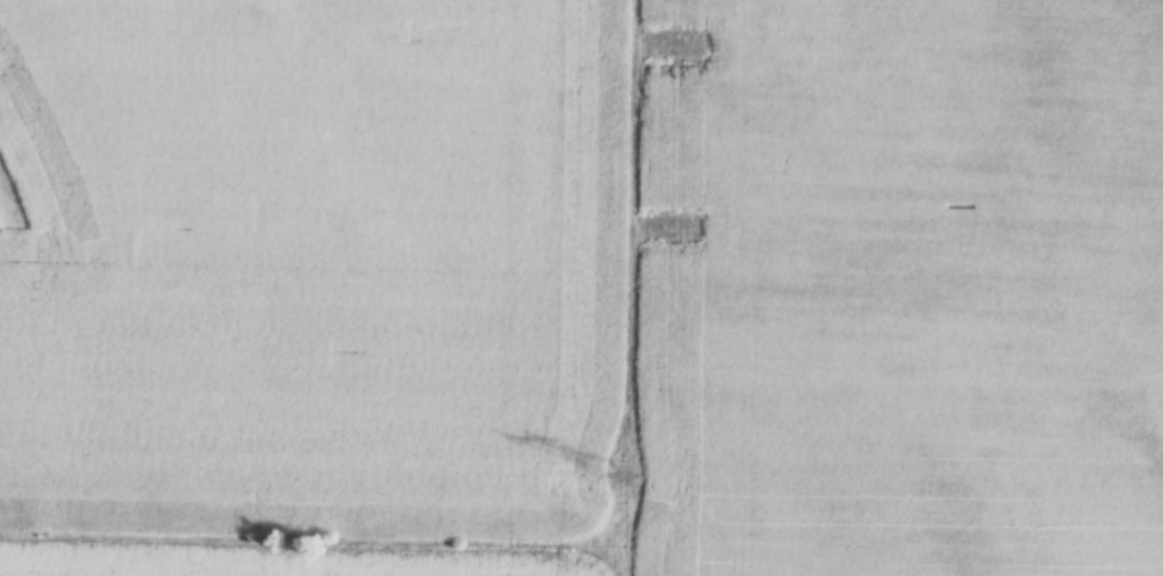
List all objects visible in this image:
power tower: (620, 484)

